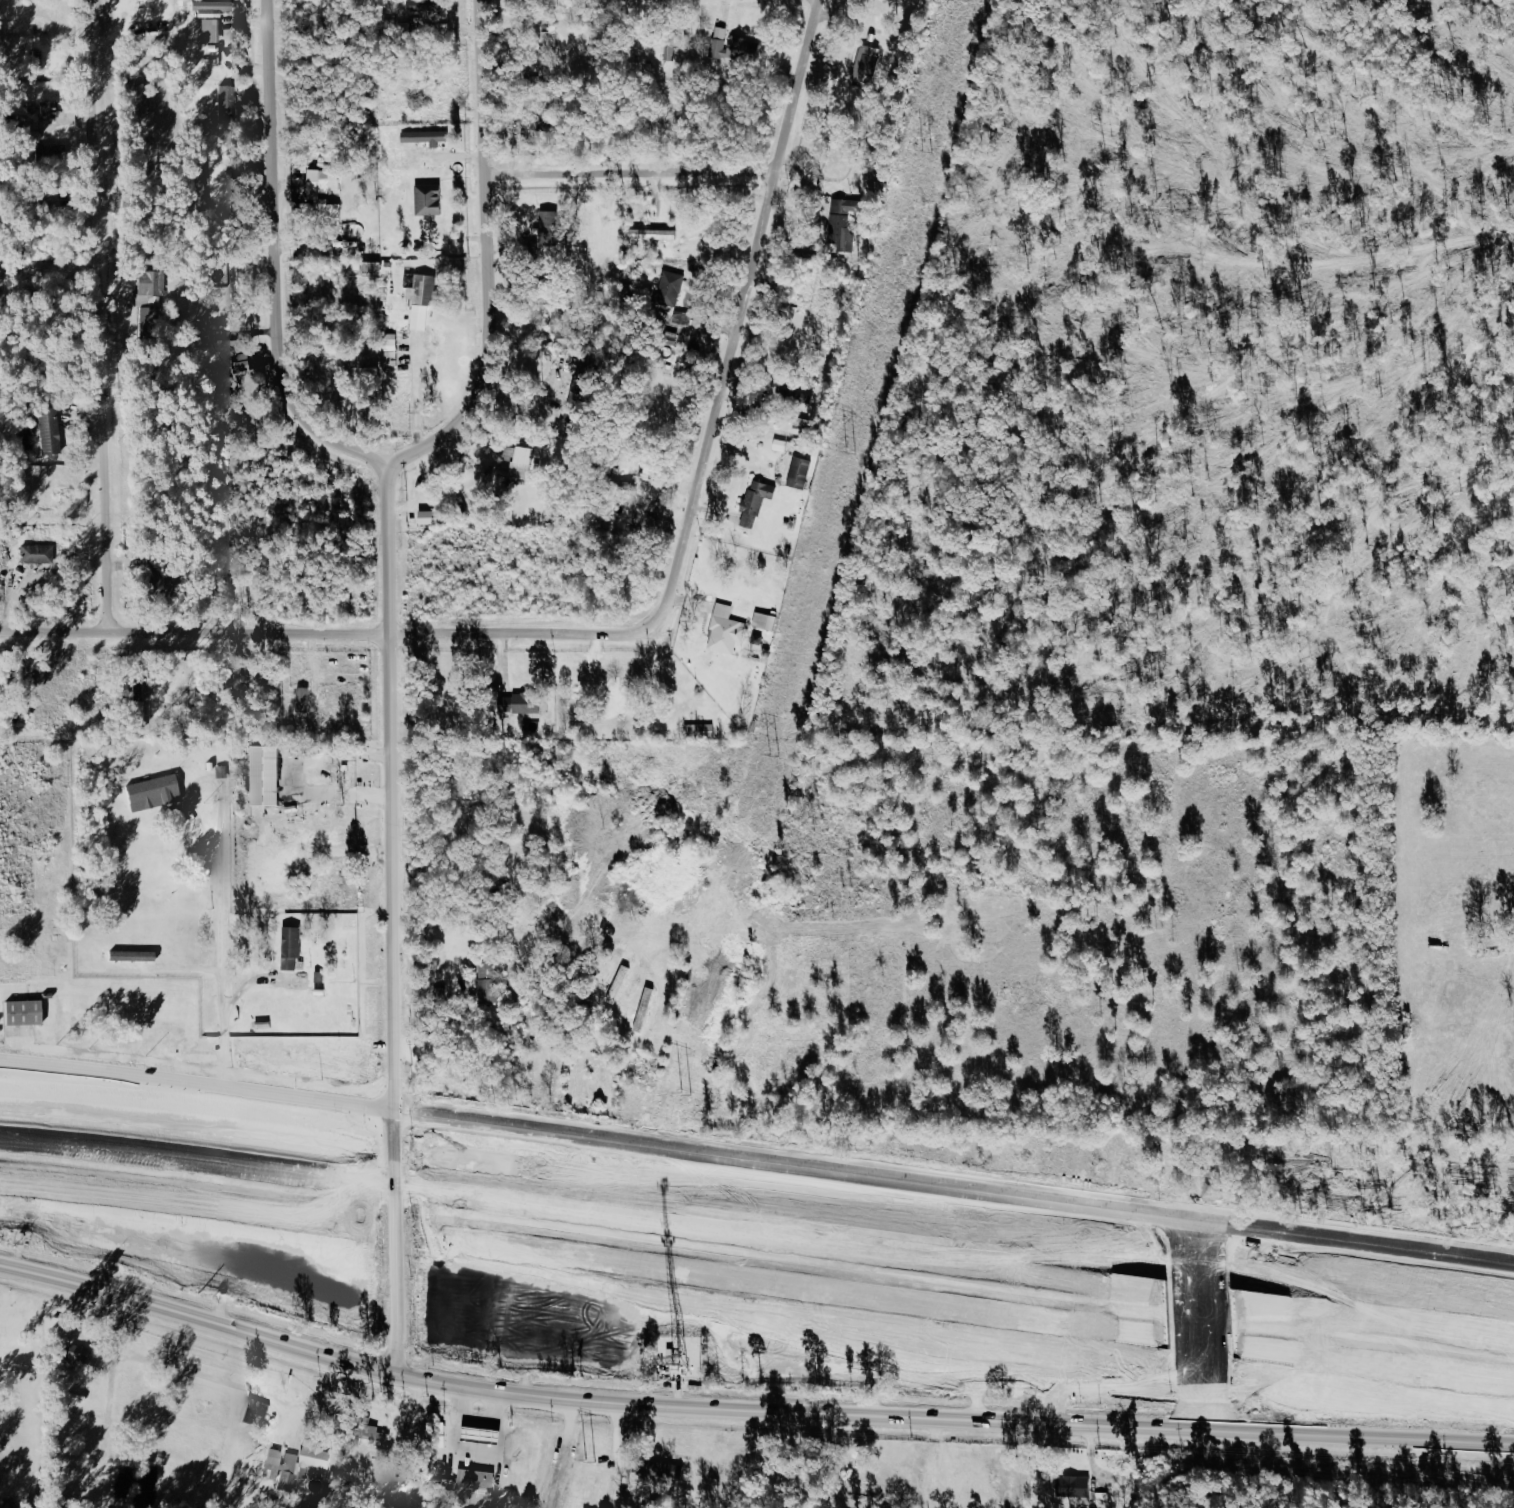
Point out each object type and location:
building: (425, 7)
building: (213, 18)
building: (550, 39)
building: (735, 46)
building: (671, 47)
building: (868, 63)
building: (228, 103)
building: (50, 111)
building: (427, 137)
power tower: (925, 152)
road: (630, 172)
building: (325, 181)
building: (430, 200)
building: (201, 201)
building: (329, 210)
building: (838, 227)
building: (551, 230)
road: (488, 256)
road: (274, 260)
building: (150, 289)
building: (670, 289)
road: (100, 316)
building: (681, 316)
building: (562, 321)
road: (736, 324)
building: (201, 338)
building: (391, 350)
building: (217, 380)
building: (51, 431)
power tower: (850, 454)
building: (520, 462)
building: (800, 473)
building: (757, 502)
building: (50, 516)
building: (430, 517)
building: (32, 556)
building: (766, 620)
building: (727, 630)
road: (317, 635)
building: (142, 694)
building: (304, 699)
building: (520, 704)
building: (700, 731)
power tower: (773, 756)
road: (298, 775)
building: (268, 776)
road: (391, 787)
building: (154, 794)
building: (293, 946)
building: (133, 956)
building: (612, 965)
building: (620, 977)
building: (489, 978)
building: (24, 1013)
road: (54, 1075)
power tower: (684, 1101)
road: (757, 1163)
road: (588, 1212)
building: (1020, 1249)
building: (985, 1255)
road: (588, 1260)
building: (520, 1292)
road: (1213, 1293)
building: (1079, 1317)
road: (1382, 1318)
road: (1207, 1331)
road: (1210, 1340)
building: (77, 1356)
road: (1379, 1363)
road: (186, 1370)
road: (314, 1402)
road: (749, 1410)
building: (366, 1432)
road: (1092, 1450)
road: (474, 1451)
road: (1450, 1452)
road: (562, 1455)
power tower: (591, 1455)
building: (296, 1464)
building: (667, 1477)
building: (476, 1488)
building: (1078, 1488)

